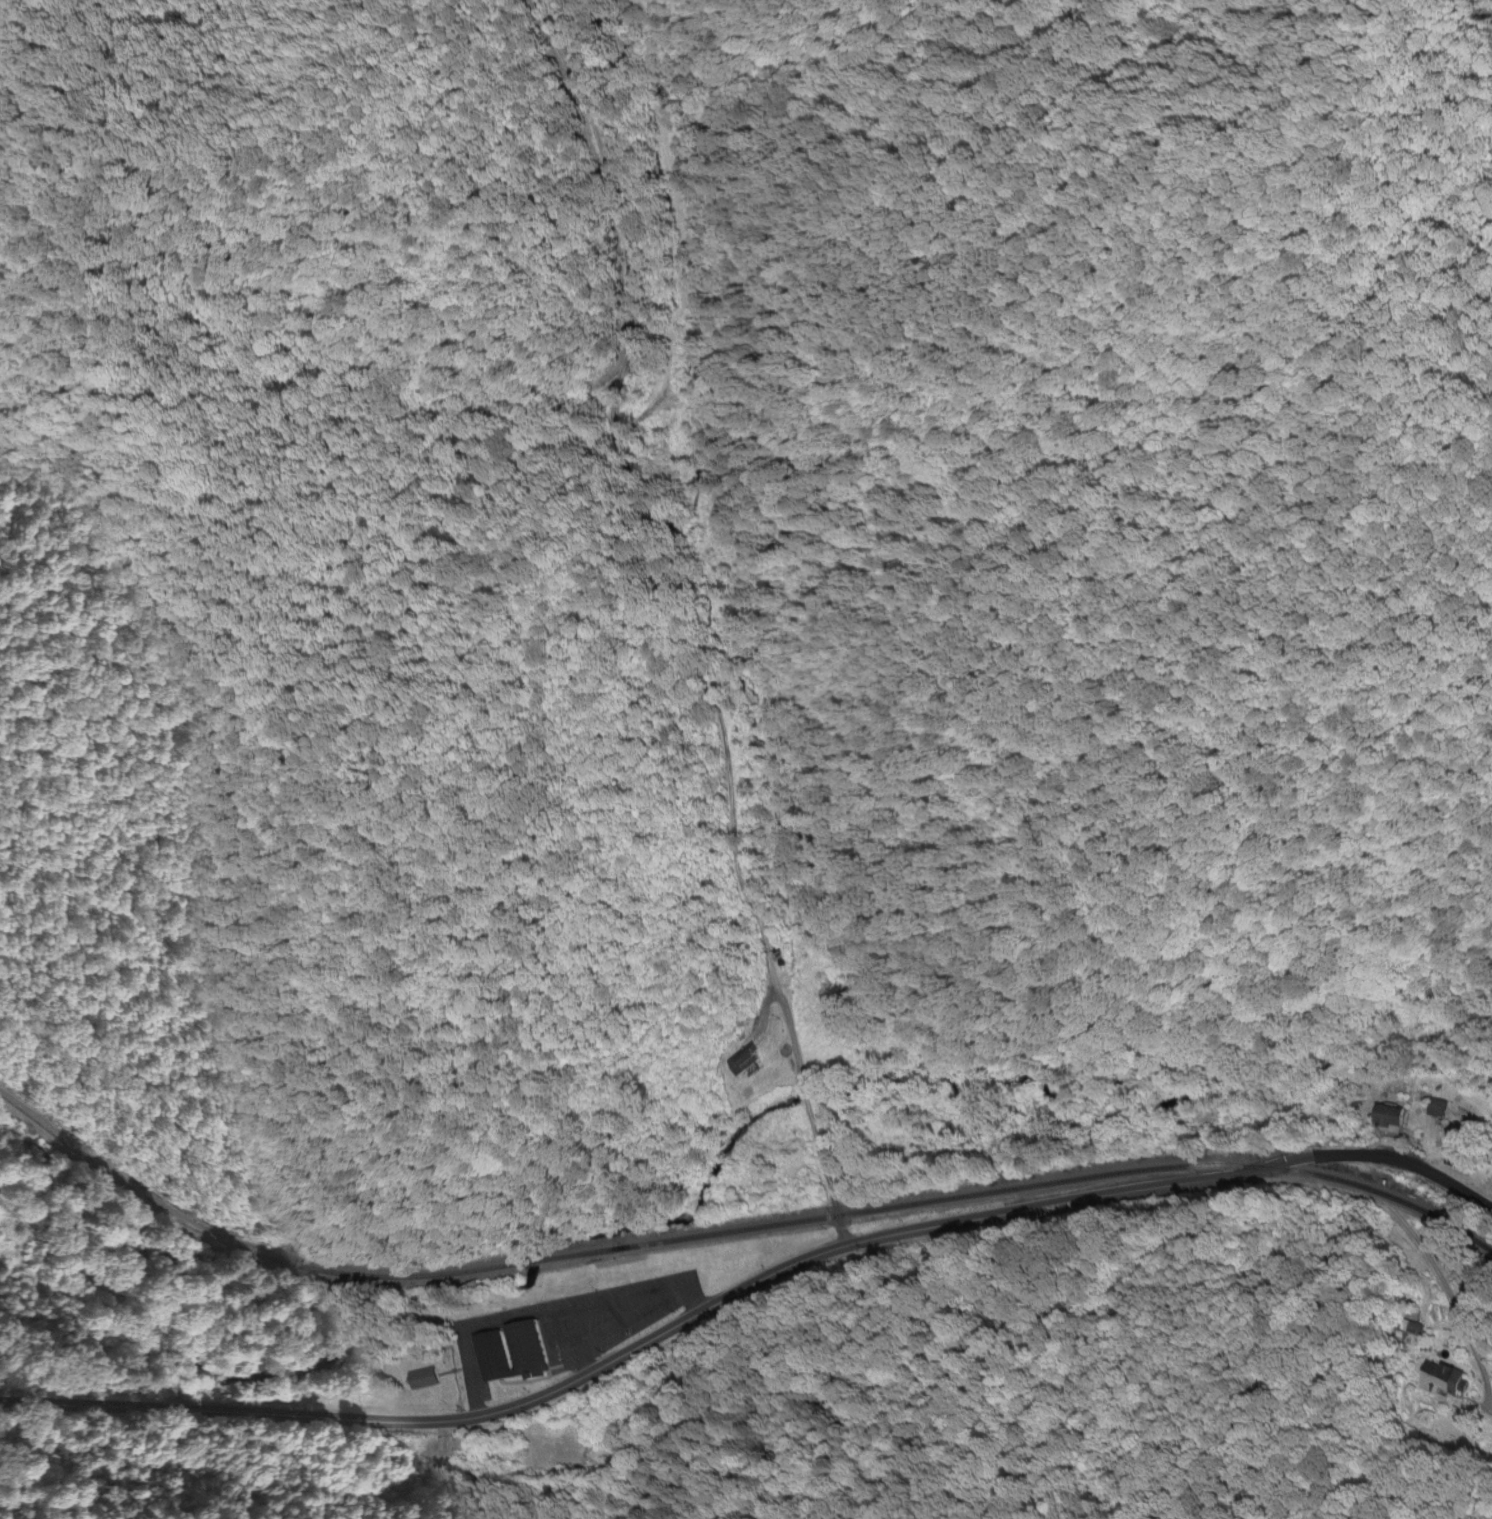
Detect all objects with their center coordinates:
road: (678, 618)
building: (747, 1059)
building: (1440, 1108)
building: (1393, 1119)
road: (1375, 1156)
railway: (729, 1231)
road: (1406, 1239)
road: (634, 1346)
building: (517, 1353)
building: (427, 1378)
building: (1451, 1382)

